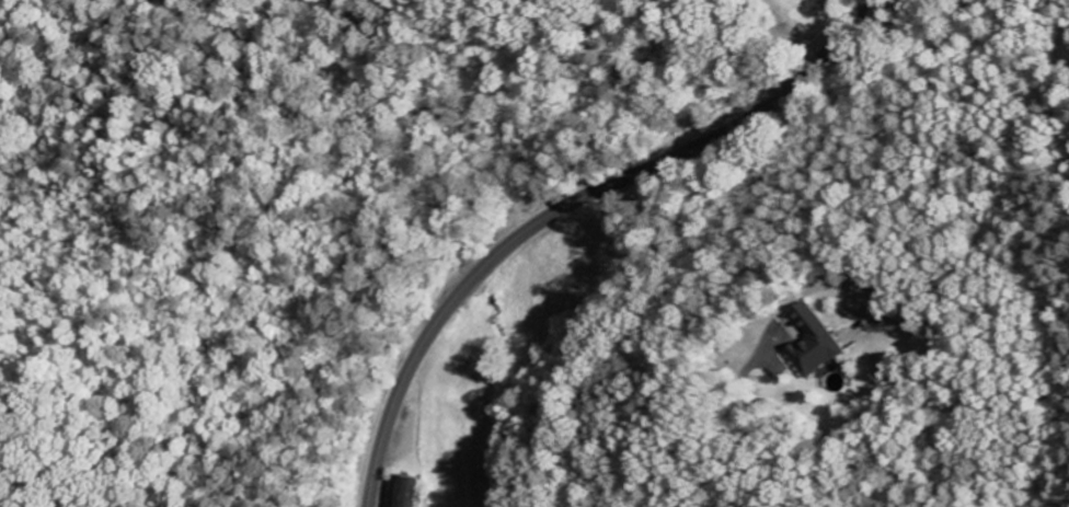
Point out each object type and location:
road: (565, 212)
building: (818, 344)
road: (744, 415)
building: (414, 492)

